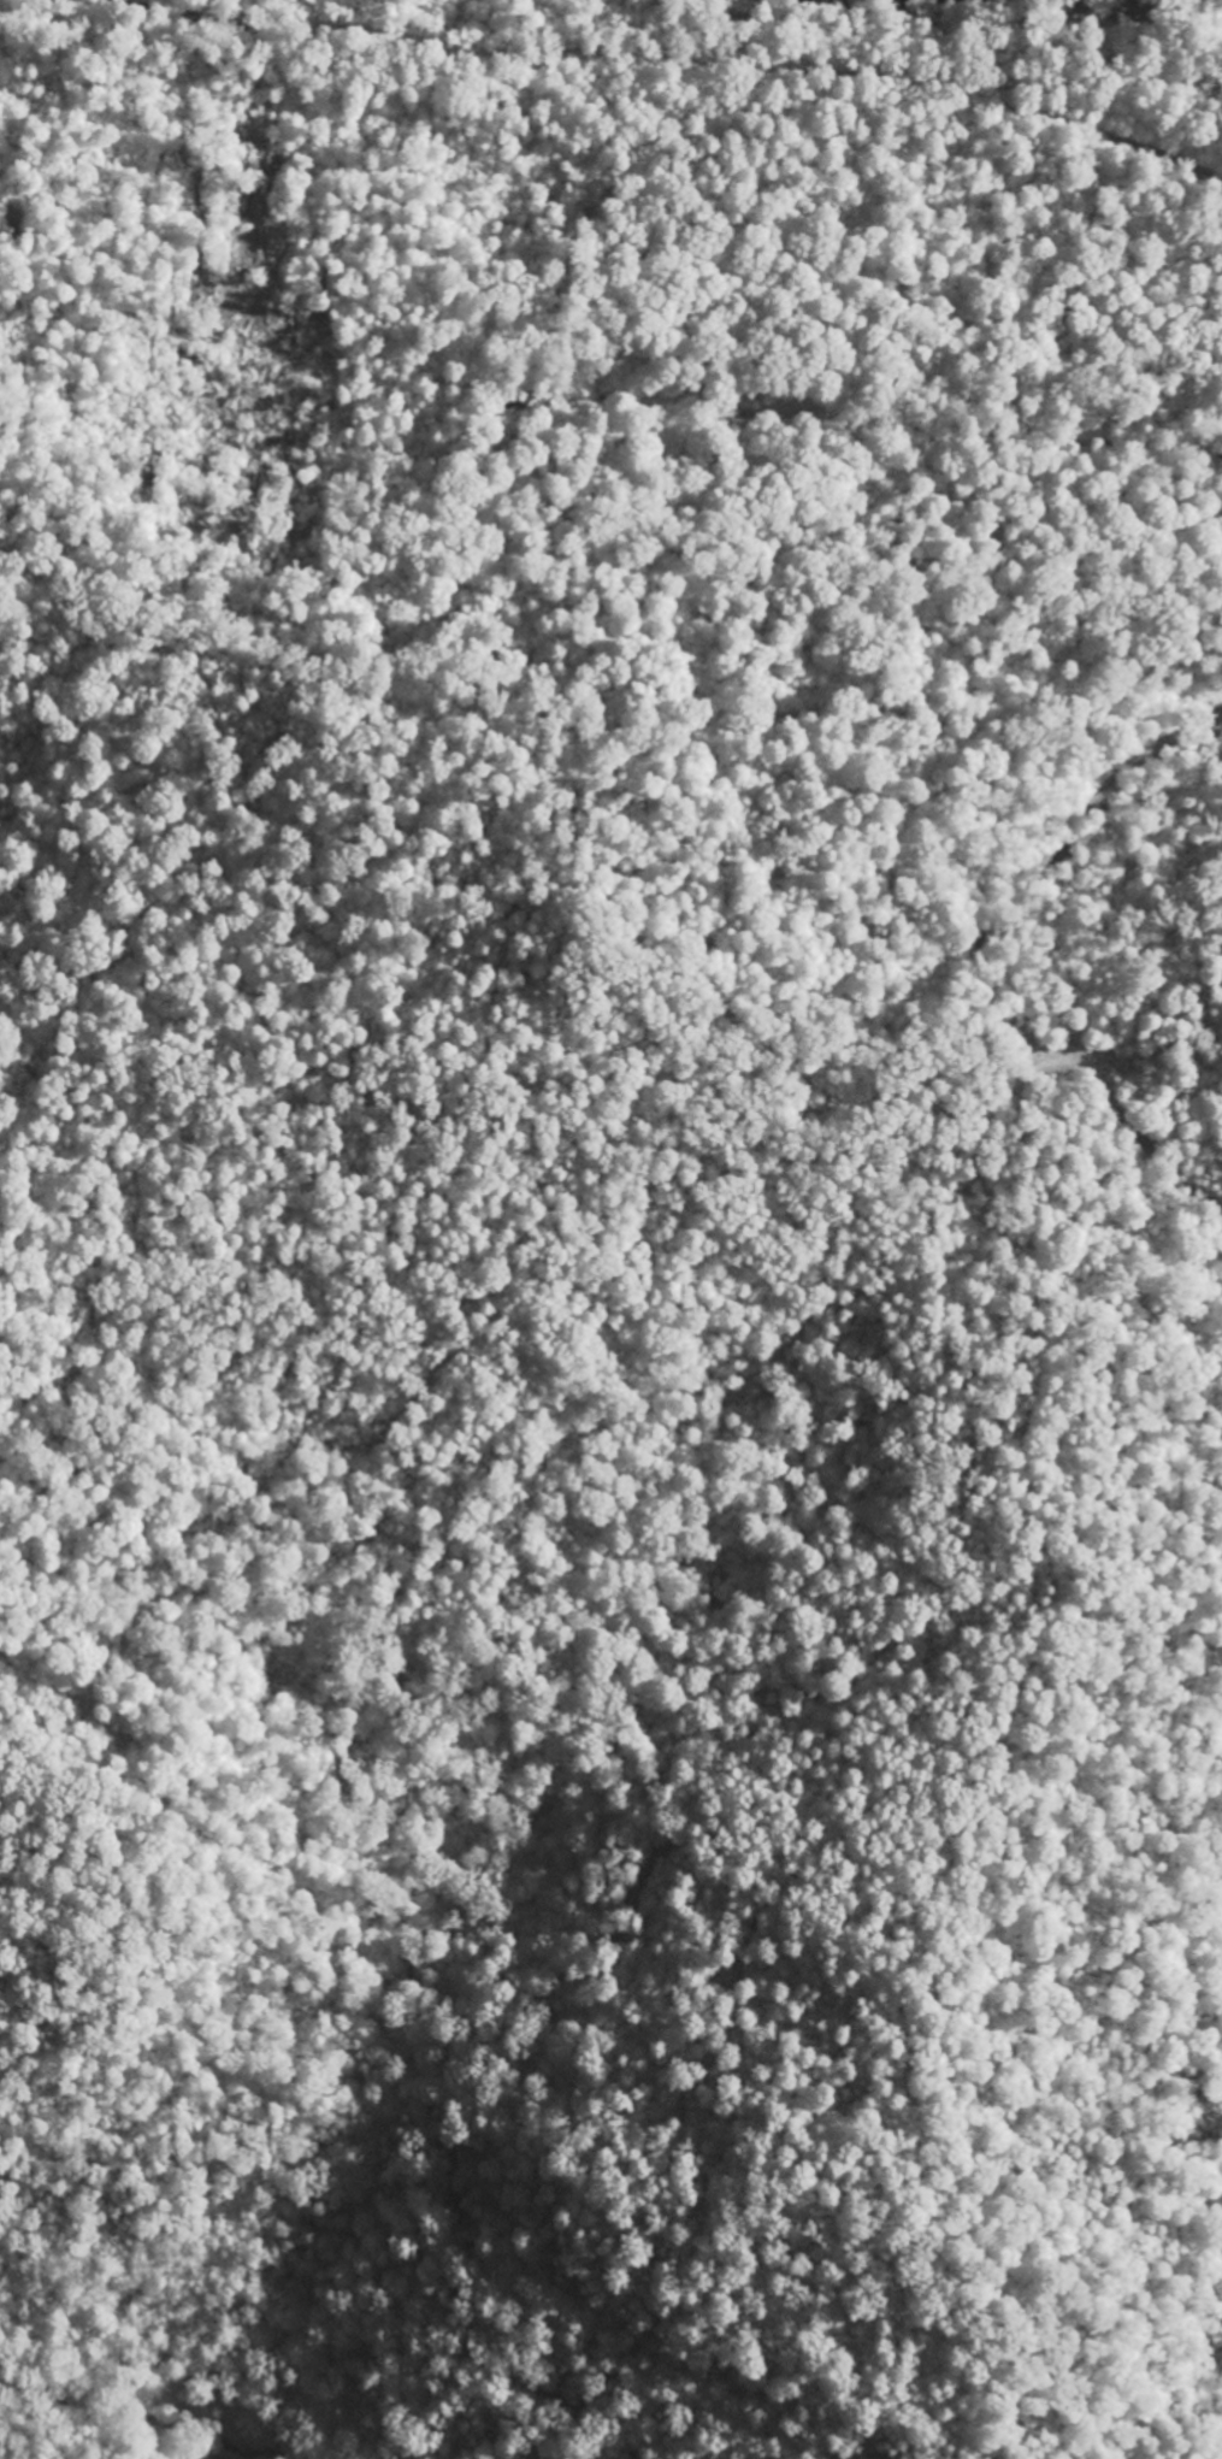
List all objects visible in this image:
road: (657, 61)
road: (606, 1072)

